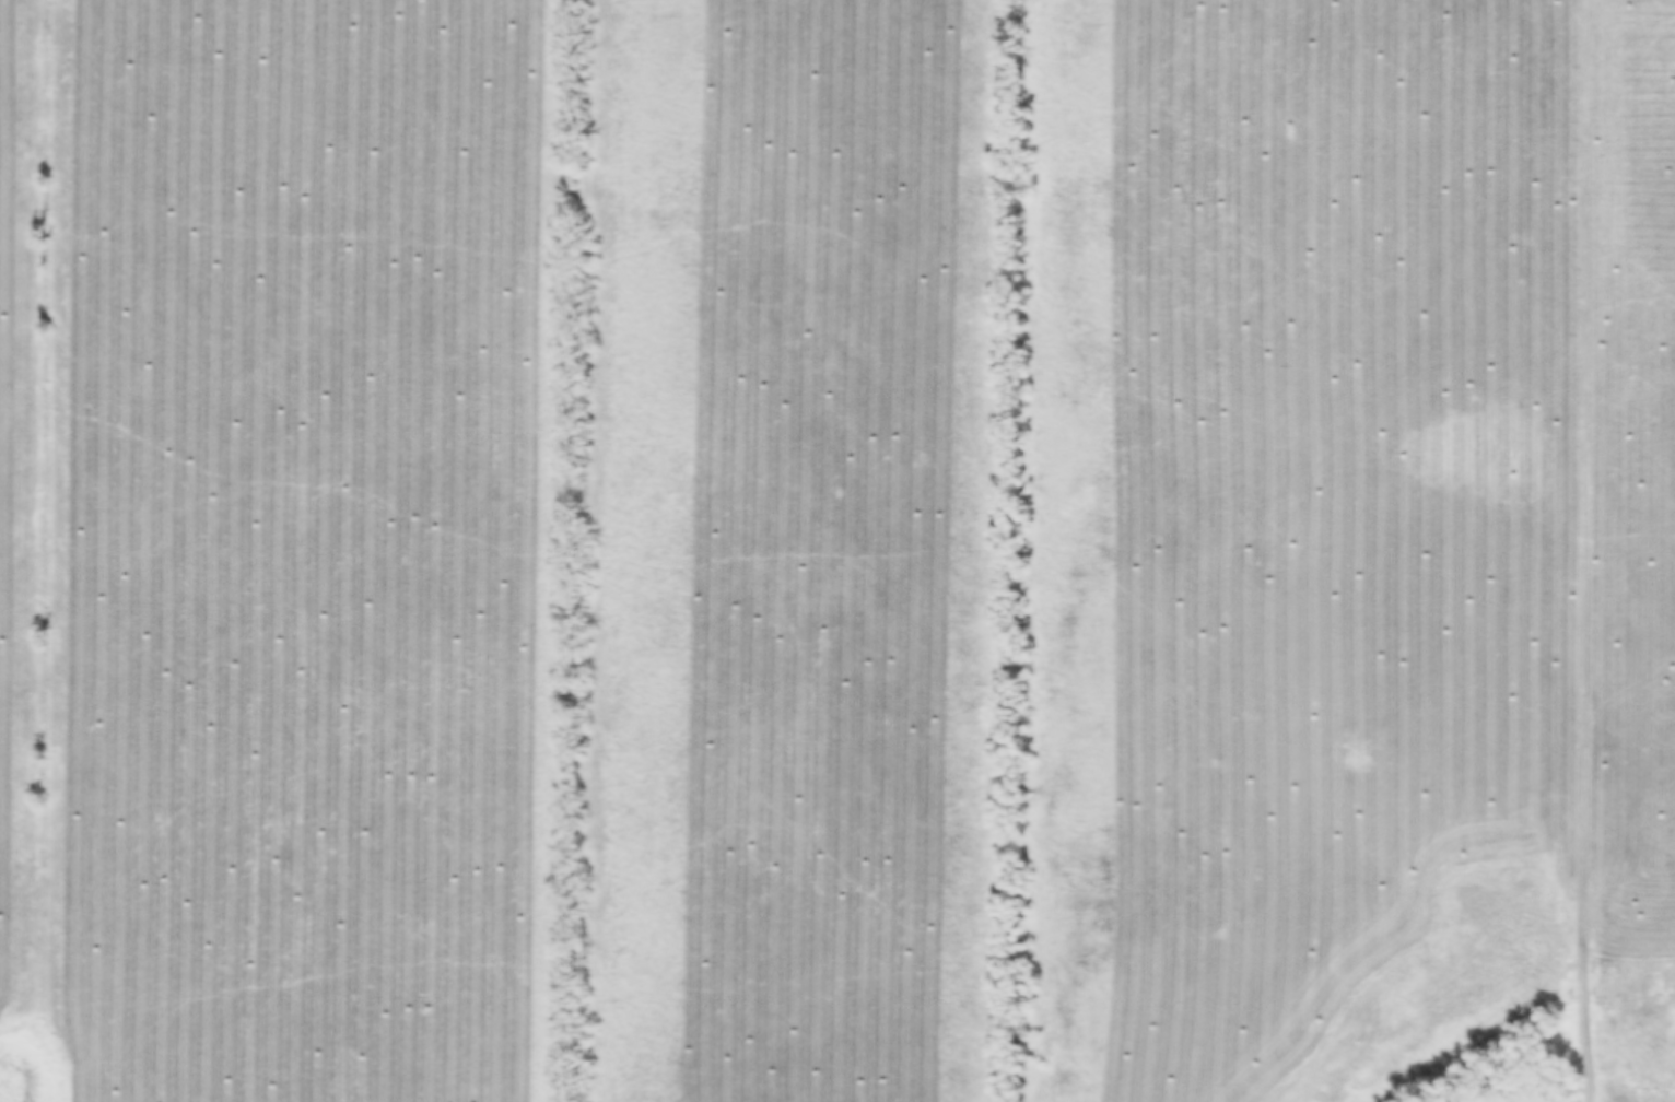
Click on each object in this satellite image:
road: (1573, 553)

